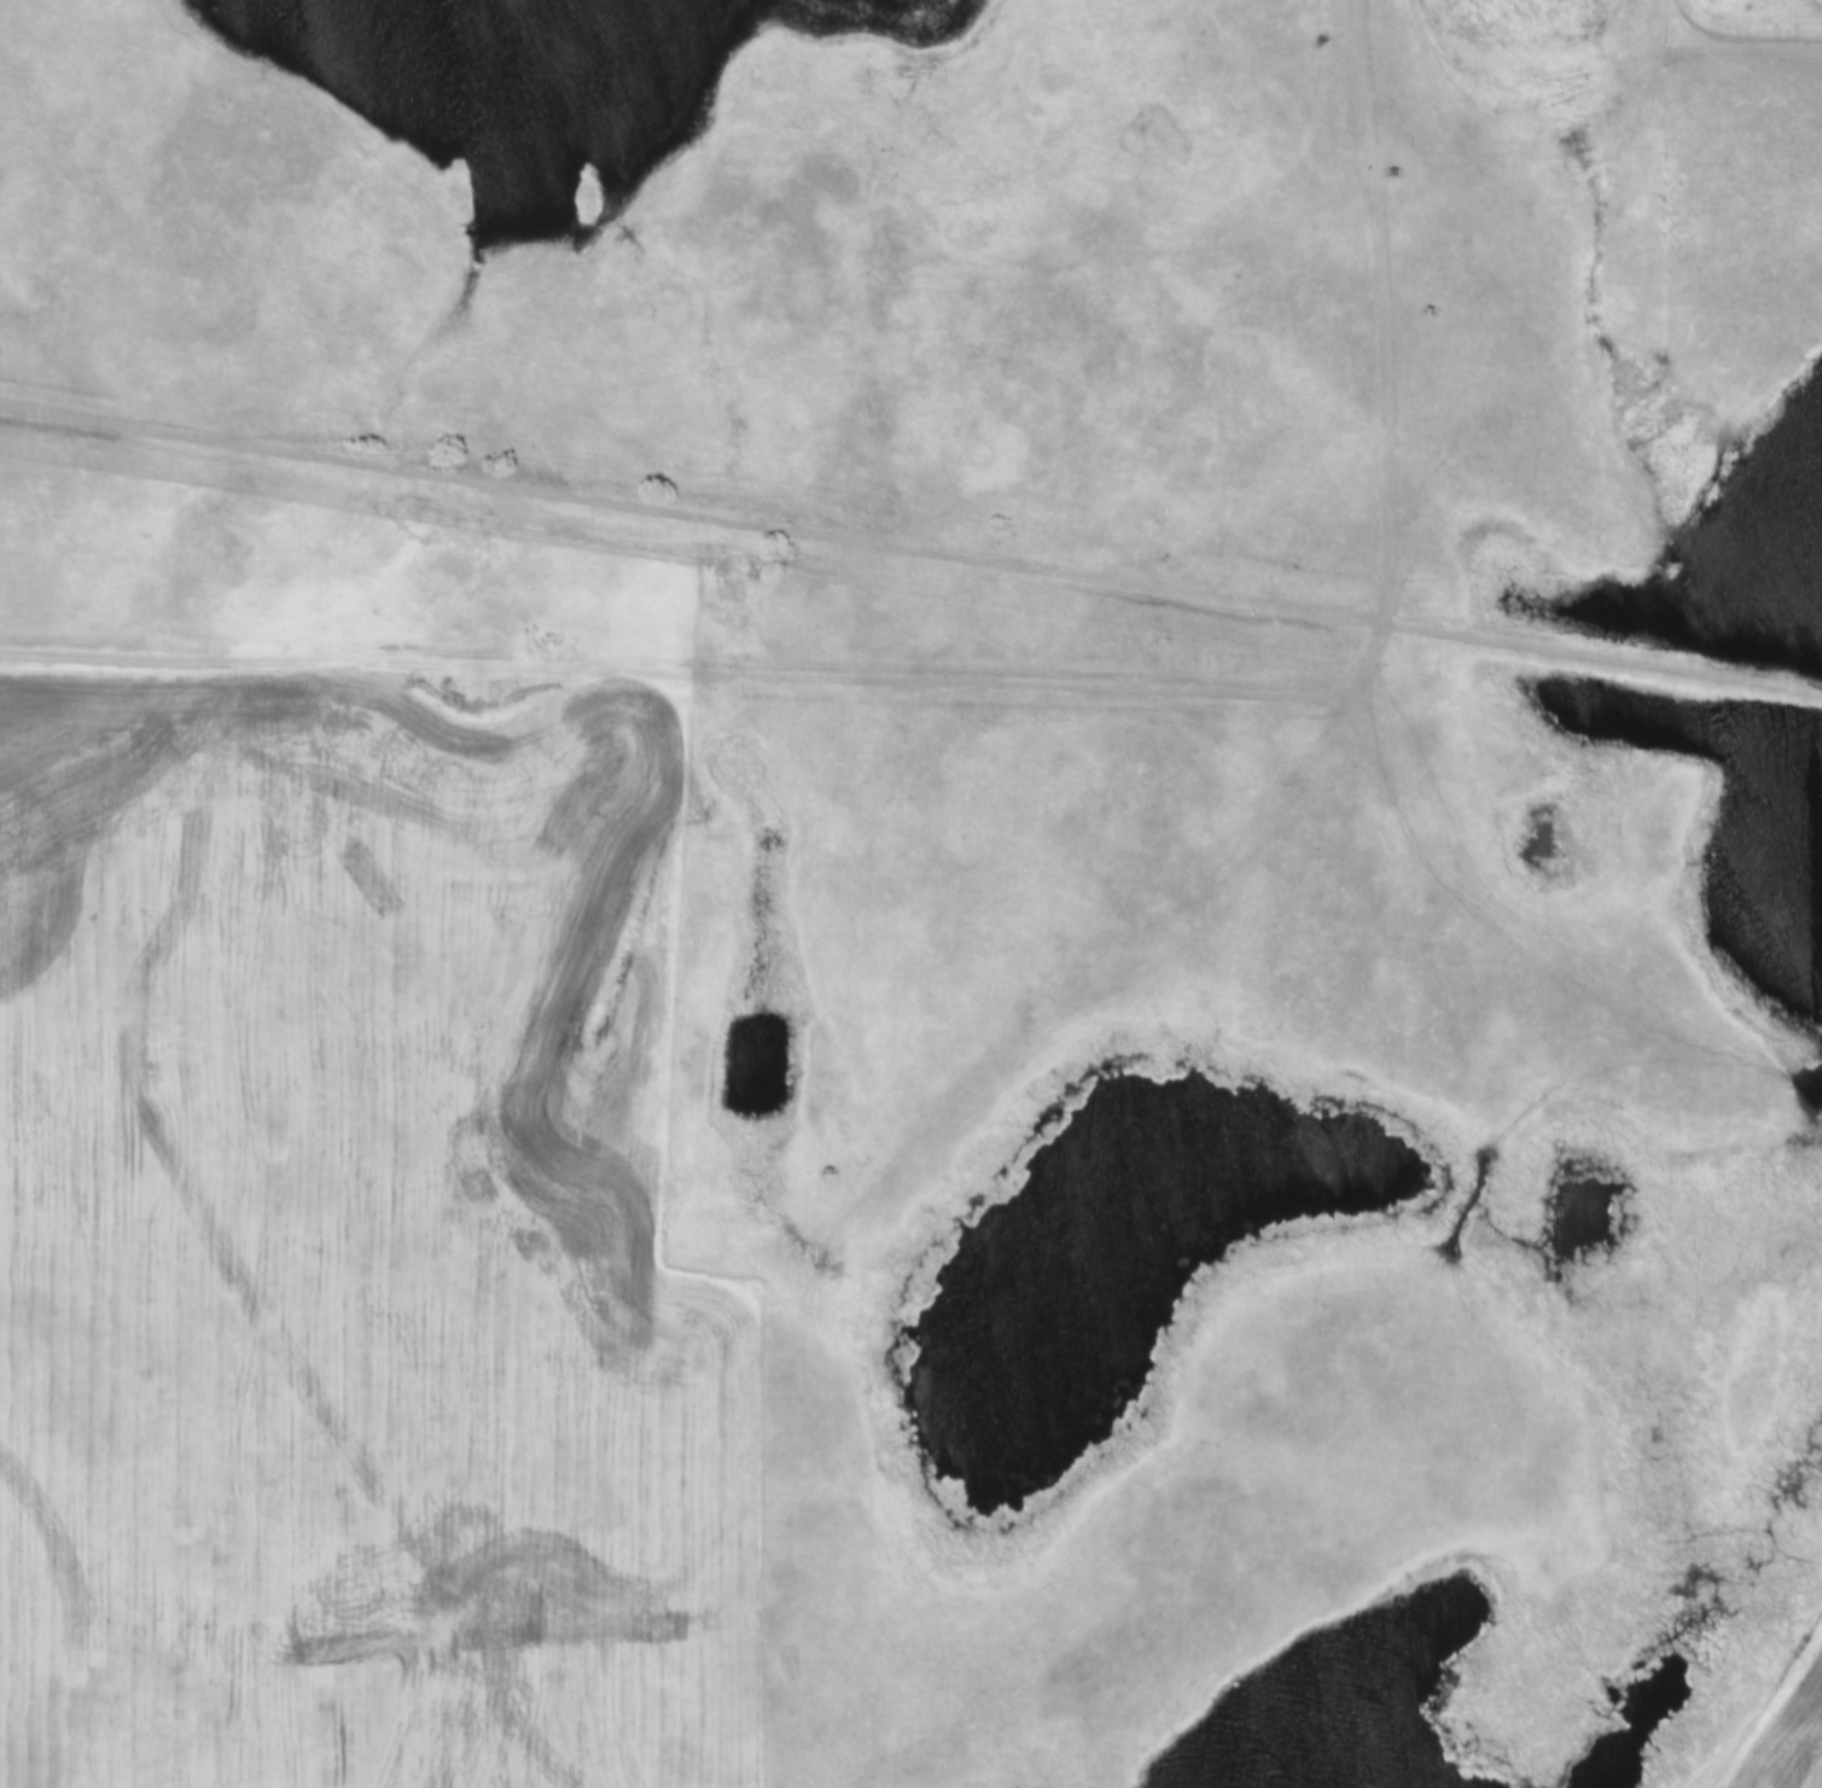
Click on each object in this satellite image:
road: (914, 686)

